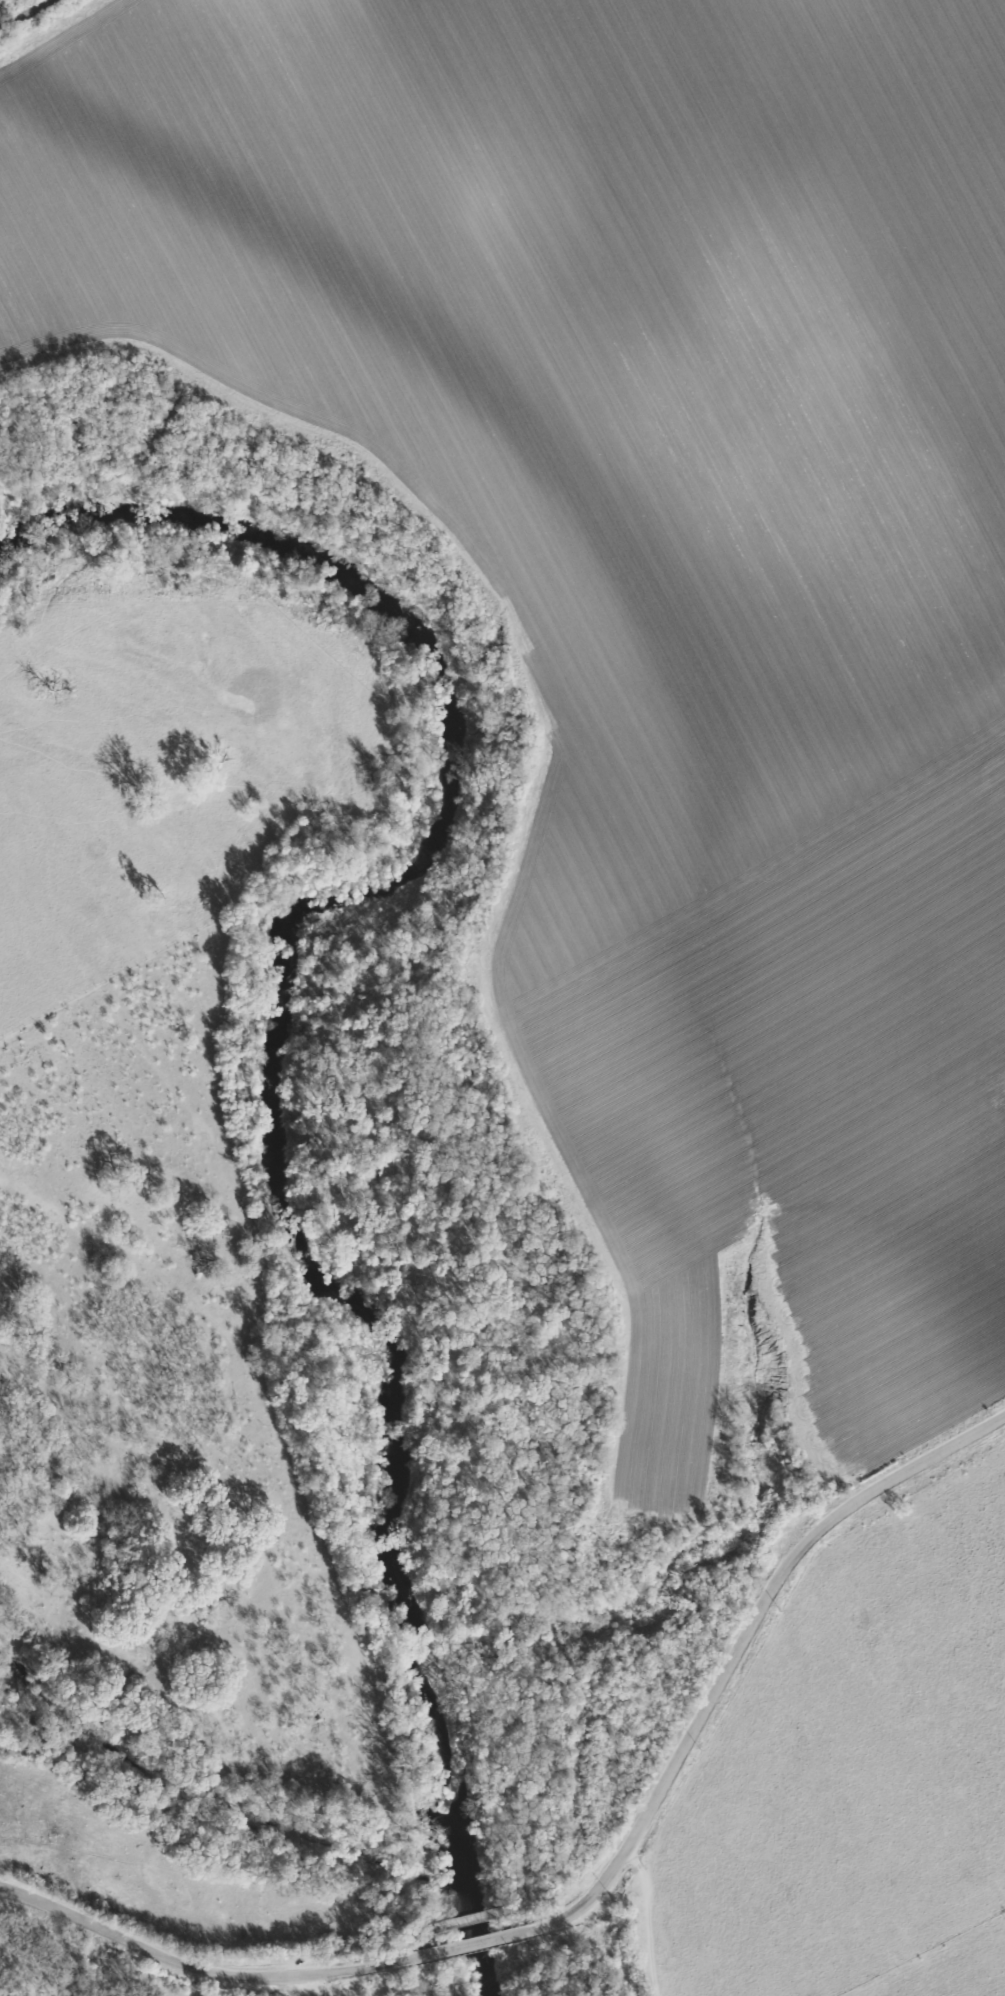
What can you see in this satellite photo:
river: (275, 1073)
road: (736, 1646)
road: (466, 1945)
road: (195, 1968)

